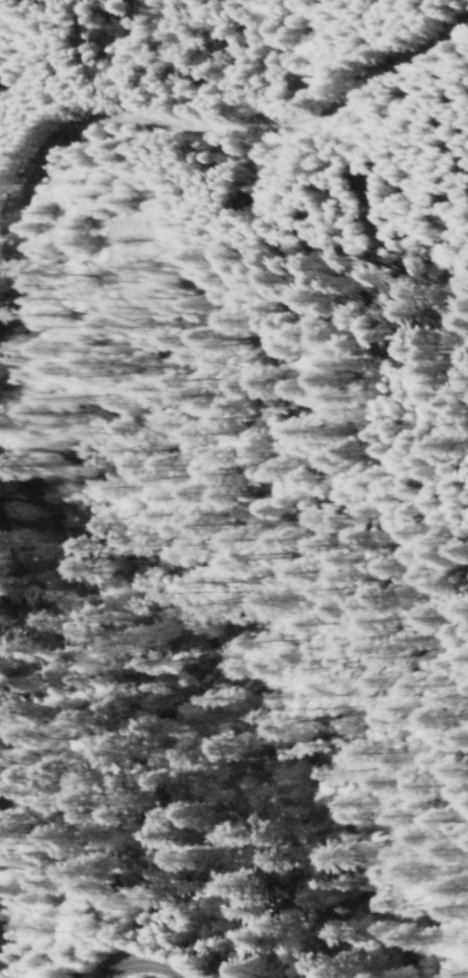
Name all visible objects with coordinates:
road: (176, 130)
road: (134, 970)

